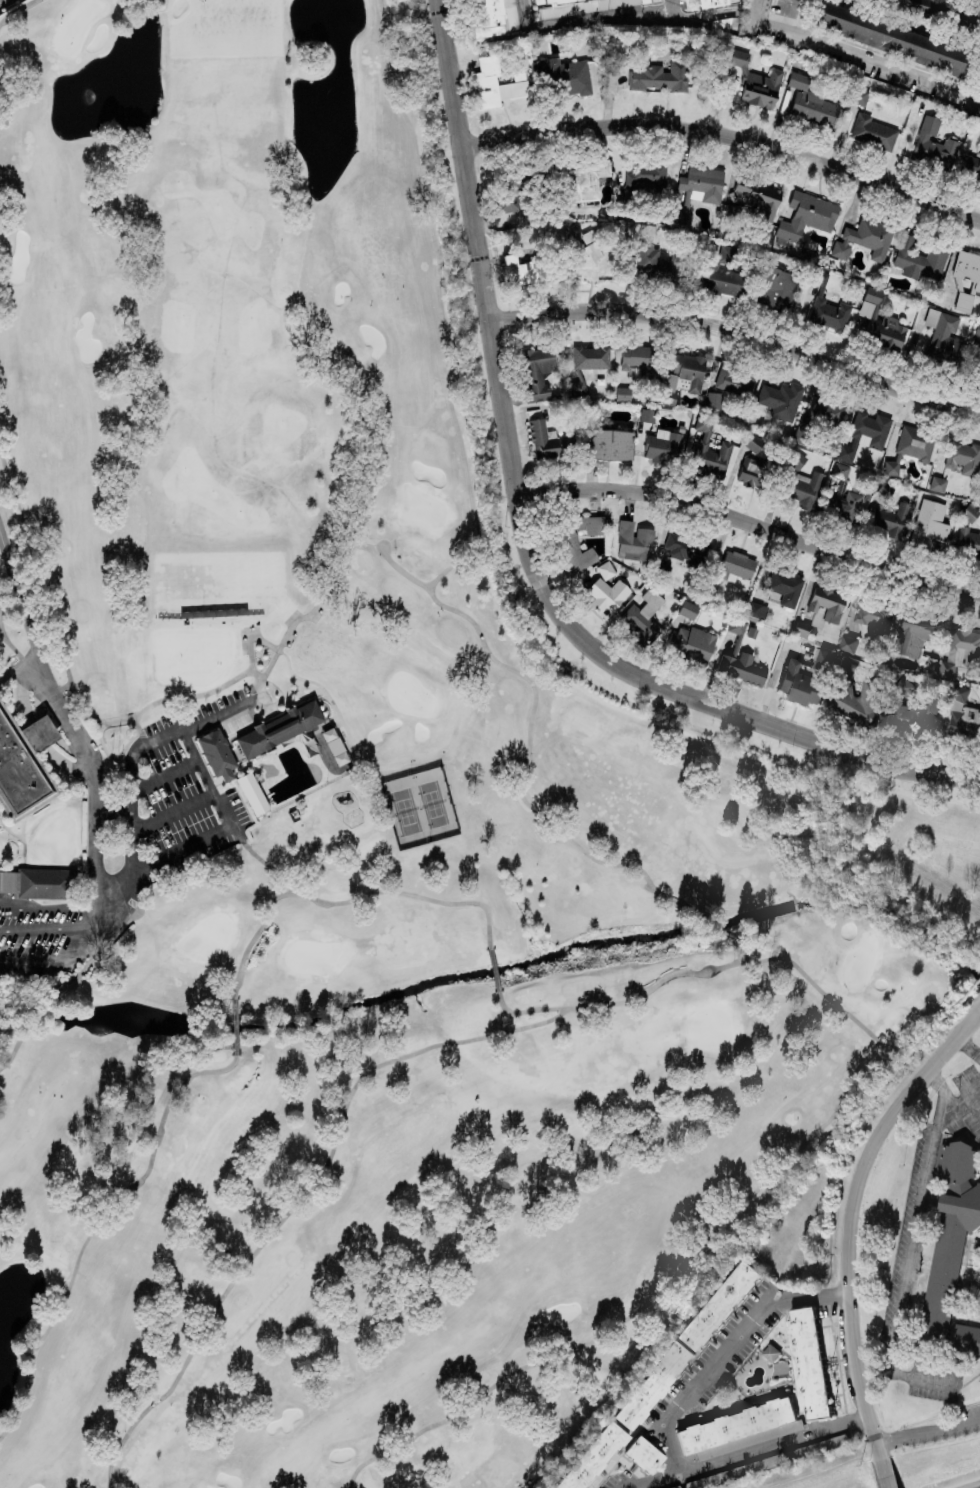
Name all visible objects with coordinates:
building: (714, 2)
building: (579, 6)
building: (911, 6)
road: (672, 8)
road: (712, 12)
road: (525, 14)
building: (496, 17)
road: (600, 17)
building: (961, 22)
building: (889, 37)
road: (856, 52)
building: (565, 75)
building: (659, 76)
building: (799, 80)
building: (756, 81)
building: (496, 83)
building: (860, 95)
building: (814, 108)
building: (873, 132)
road: (726, 136)
building: (935, 144)
building: (972, 167)
building: (646, 177)
building: (585, 179)
building: (699, 188)
building: (508, 195)
building: (760, 198)
building: (807, 216)
building: (865, 239)
building: (595, 256)
building: (921, 259)
building: (652, 260)
building: (968, 267)
building: (524, 270)
building: (722, 274)
building: (777, 289)
building: (964, 302)
building: (828, 306)
building: (880, 321)
building: (978, 329)
road: (738, 331)
building: (944, 338)
building: (591, 357)
building: (979, 367)
building: (538, 372)
building: (685, 373)
building: (734, 380)
building: (623, 393)
building: (714, 400)
building: (781, 400)
building: (828, 410)
building: (646, 415)
building: (865, 434)
building: (547, 440)
building: (754, 442)
building: (916, 443)
building: (609, 444)
building: (662, 445)
building: (725, 446)
building: (963, 457)
building: (796, 459)
building: (892, 466)
building: (841, 470)
building: (751, 471)
building: (938, 484)
building: (804, 489)
building: (979, 498)
building: (843, 506)
building: (969, 512)
building: (891, 519)
road: (750, 523)
building: (929, 523)
road: (521, 539)
building: (635, 541)
building: (968, 541)
building: (570, 542)
building: (689, 550)
building: (737, 566)
building: (606, 570)
building: (662, 571)
building: (785, 587)
building: (608, 595)
building: (827, 603)
building: (688, 609)
building: (757, 610)
building: (874, 614)
building: (644, 617)
building: (738, 625)
building: (802, 628)
building: (915, 633)
building: (848, 642)
building: (693, 643)
building: (961, 649)
building: (824, 660)
road: (17, 664)
building: (742, 668)
road: (775, 674)
building: (800, 683)
building: (904, 686)
road: (25, 695)
building: (856, 695)
building: (915, 715)
road: (67, 716)
building: (963, 716)
building: (279, 728)
road: (171, 731)
road: (37, 734)
building: (334, 746)
building: (216, 752)
building: (23, 764)
road: (66, 765)
road: (165, 776)
road: (205, 778)
building: (252, 793)
park: (420, 806)
road: (115, 810)
road: (172, 813)
park: (346, 823)
road: (131, 835)
road: (164, 862)
building: (44, 882)
road: (90, 921)
road: (44, 930)
road: (977, 1008)
road: (967, 1048)
road: (966, 1093)
road: (955, 1105)
road: (848, 1217)
road: (915, 1219)
building: (951, 1230)
building: (721, 1304)
building: (965, 1338)
building: (770, 1351)
road: (724, 1352)
building: (808, 1362)
road: (903, 1375)
building: (654, 1385)
parking lot: (969, 1417)
park: (938, 1427)
building: (738, 1428)
road: (927, 1432)
road: (752, 1451)
building: (644, 1454)
building: (593, 1458)
building: (767, 1462)
park: (940, 1465)
park: (833, 1470)
road: (885, 1473)

